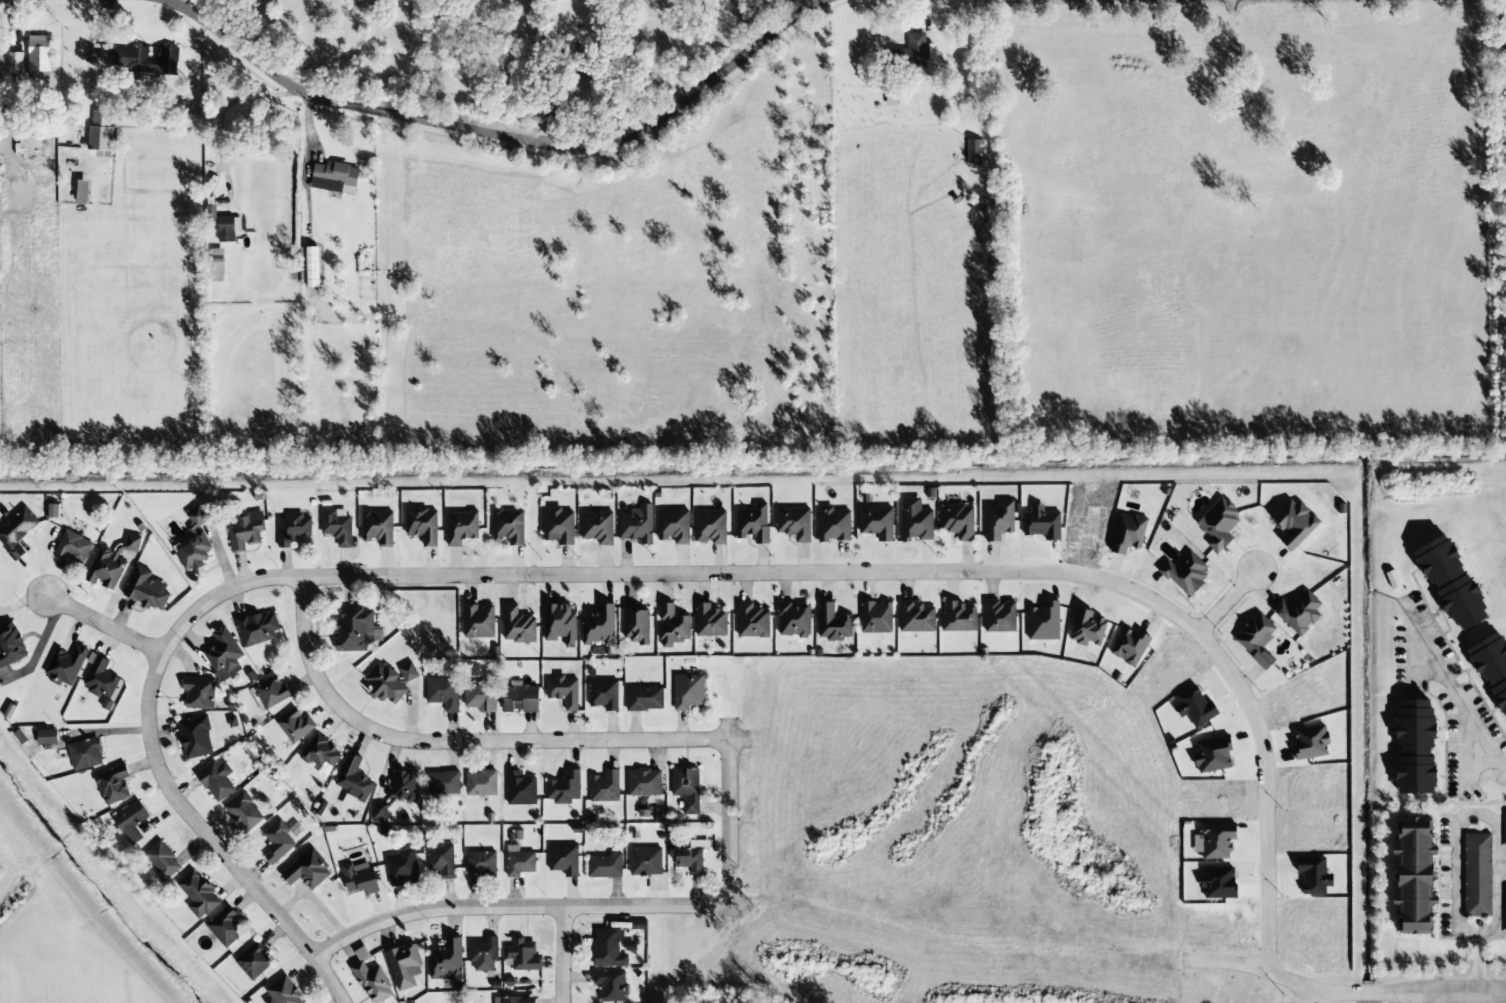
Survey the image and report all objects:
building: (1500, 42)
building: (915, 50)
building: (38, 54)
building: (145, 60)
building: (15, 62)
road: (504, 132)
building: (100, 133)
building: (28, 138)
building: (974, 150)
building: (334, 178)
building: (82, 192)
building: (227, 228)
building: (214, 265)
building: (308, 267)
building: (53, 511)
building: (998, 520)
building: (915, 521)
building: (957, 521)
building: (752, 523)
building: (794, 523)
building: (876, 523)
building: (1218, 524)
building: (1294, 524)
building: (422, 525)
building: (636, 525)
building: (833, 525)
building: (336, 526)
building: (508, 526)
building: (558, 526)
building: (673, 526)
building: (377, 527)
building: (597, 527)
building: (710, 527)
building: (461, 528)
building: (292, 529)
building: (245, 530)
building: (16, 531)
building: (1127, 533)
building: (194, 543)
building: (73, 547)
building: (110, 564)
building: (1184, 573)
road: (851, 577)
building: (1446, 582)
building: (146, 589)
road: (1226, 603)
building: (1298, 612)
building: (999, 616)
building: (915, 617)
building: (958, 617)
building: (875, 618)
building: (794, 619)
building: (710, 621)
building: (752, 621)
building: (478, 622)
building: (1043, 622)
building: (559, 623)
building: (832, 623)
building: (635, 624)
building: (517, 626)
building: (599, 626)
building: (672, 626)
building: (257, 628)
building: (1087, 628)
building: (353, 629)
road: (121, 633)
building: (1256, 640)
building: (10, 645)
building: (1129, 646)
building: (223, 655)
building: (65, 666)
building: (1490, 669)
building: (99, 678)
building: (389, 682)
road: (1454, 684)
building: (563, 691)
building: (688, 692)
building: (198, 693)
building: (442, 693)
building: (603, 694)
building: (480, 696)
building: (519, 697)
building: (644, 699)
building: (1194, 707)
building: (294, 725)
road: (729, 729)
building: (46, 737)
building: (195, 737)
road: (460, 742)
building: (1310, 743)
building: (1409, 745)
building: (85, 754)
building: (1210, 756)
building: (353, 780)
building: (216, 781)
building: (442, 783)
building: (643, 783)
building: (112, 784)
building: (480, 784)
building: (402, 786)
building: (604, 787)
building: (563, 788)
building: (520, 789)
building: (686, 789)
building: (379, 811)
building: (243, 813)
building: (130, 822)
road: (729, 822)
building: (1505, 832)
road: (212, 840)
building: (1216, 840)
building: (278, 842)
road: (1456, 842)
building: (690, 857)
building: (441, 859)
building: (563, 859)
building: (162, 861)
building: (645, 861)
building: (518, 862)
building: (481, 863)
building: (604, 866)
building: (401, 868)
building: (306, 871)
building: (1409, 874)
building: (1474, 874)
building: (1313, 875)
building: (359, 878)
building: (198, 895)
road: (740, 905)
road: (516, 907)
building: (1505, 910)
road: (730, 917)
building: (225, 927)
road: (1491, 930)
building: (608, 948)
building: (483, 955)
road: (565, 955)
building: (520, 956)
building: (253, 960)
building: (446, 961)
building: (404, 967)
building: (372, 982)
building: (610, 986)
building: (283, 992)
road: (1336, 995)
road: (1459, 997)
building: (514, 1000)
road: (1424, 1000)

